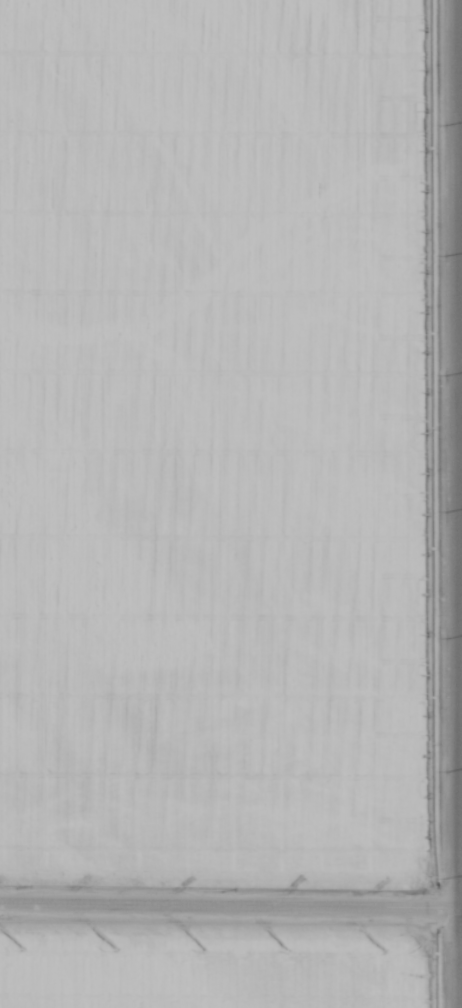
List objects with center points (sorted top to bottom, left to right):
road: (459, 503)
road: (231, 886)

